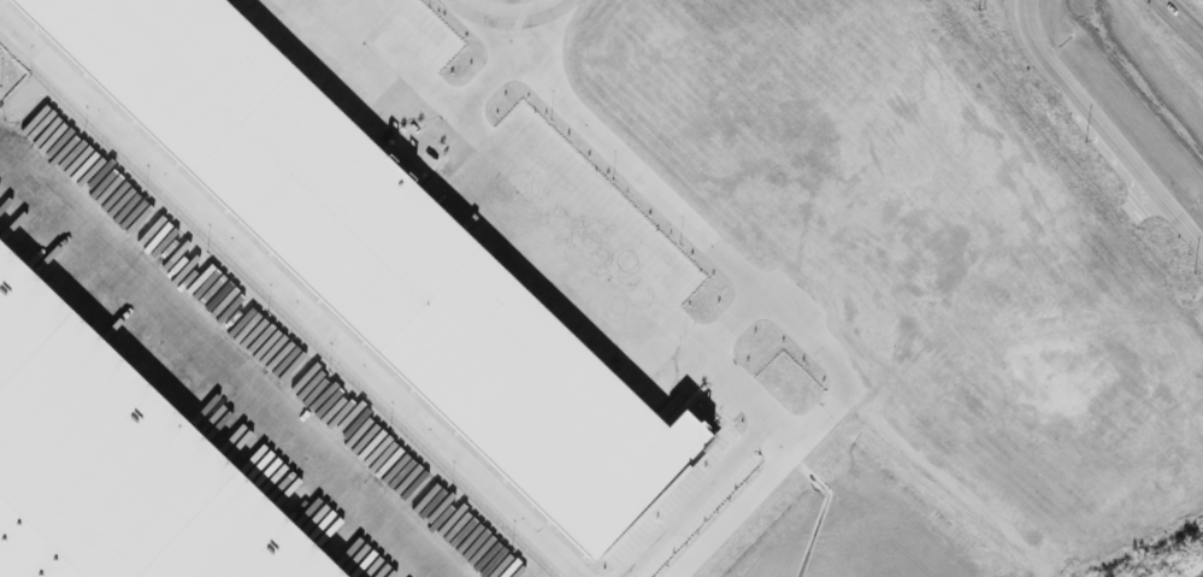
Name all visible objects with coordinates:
road: (507, 17)
road: (1184, 17)
road: (488, 83)
road: (1102, 130)
road: (561, 219)
building: (379, 255)
road: (294, 294)
road: (778, 295)
road: (736, 319)
road: (218, 365)
building: (116, 465)

